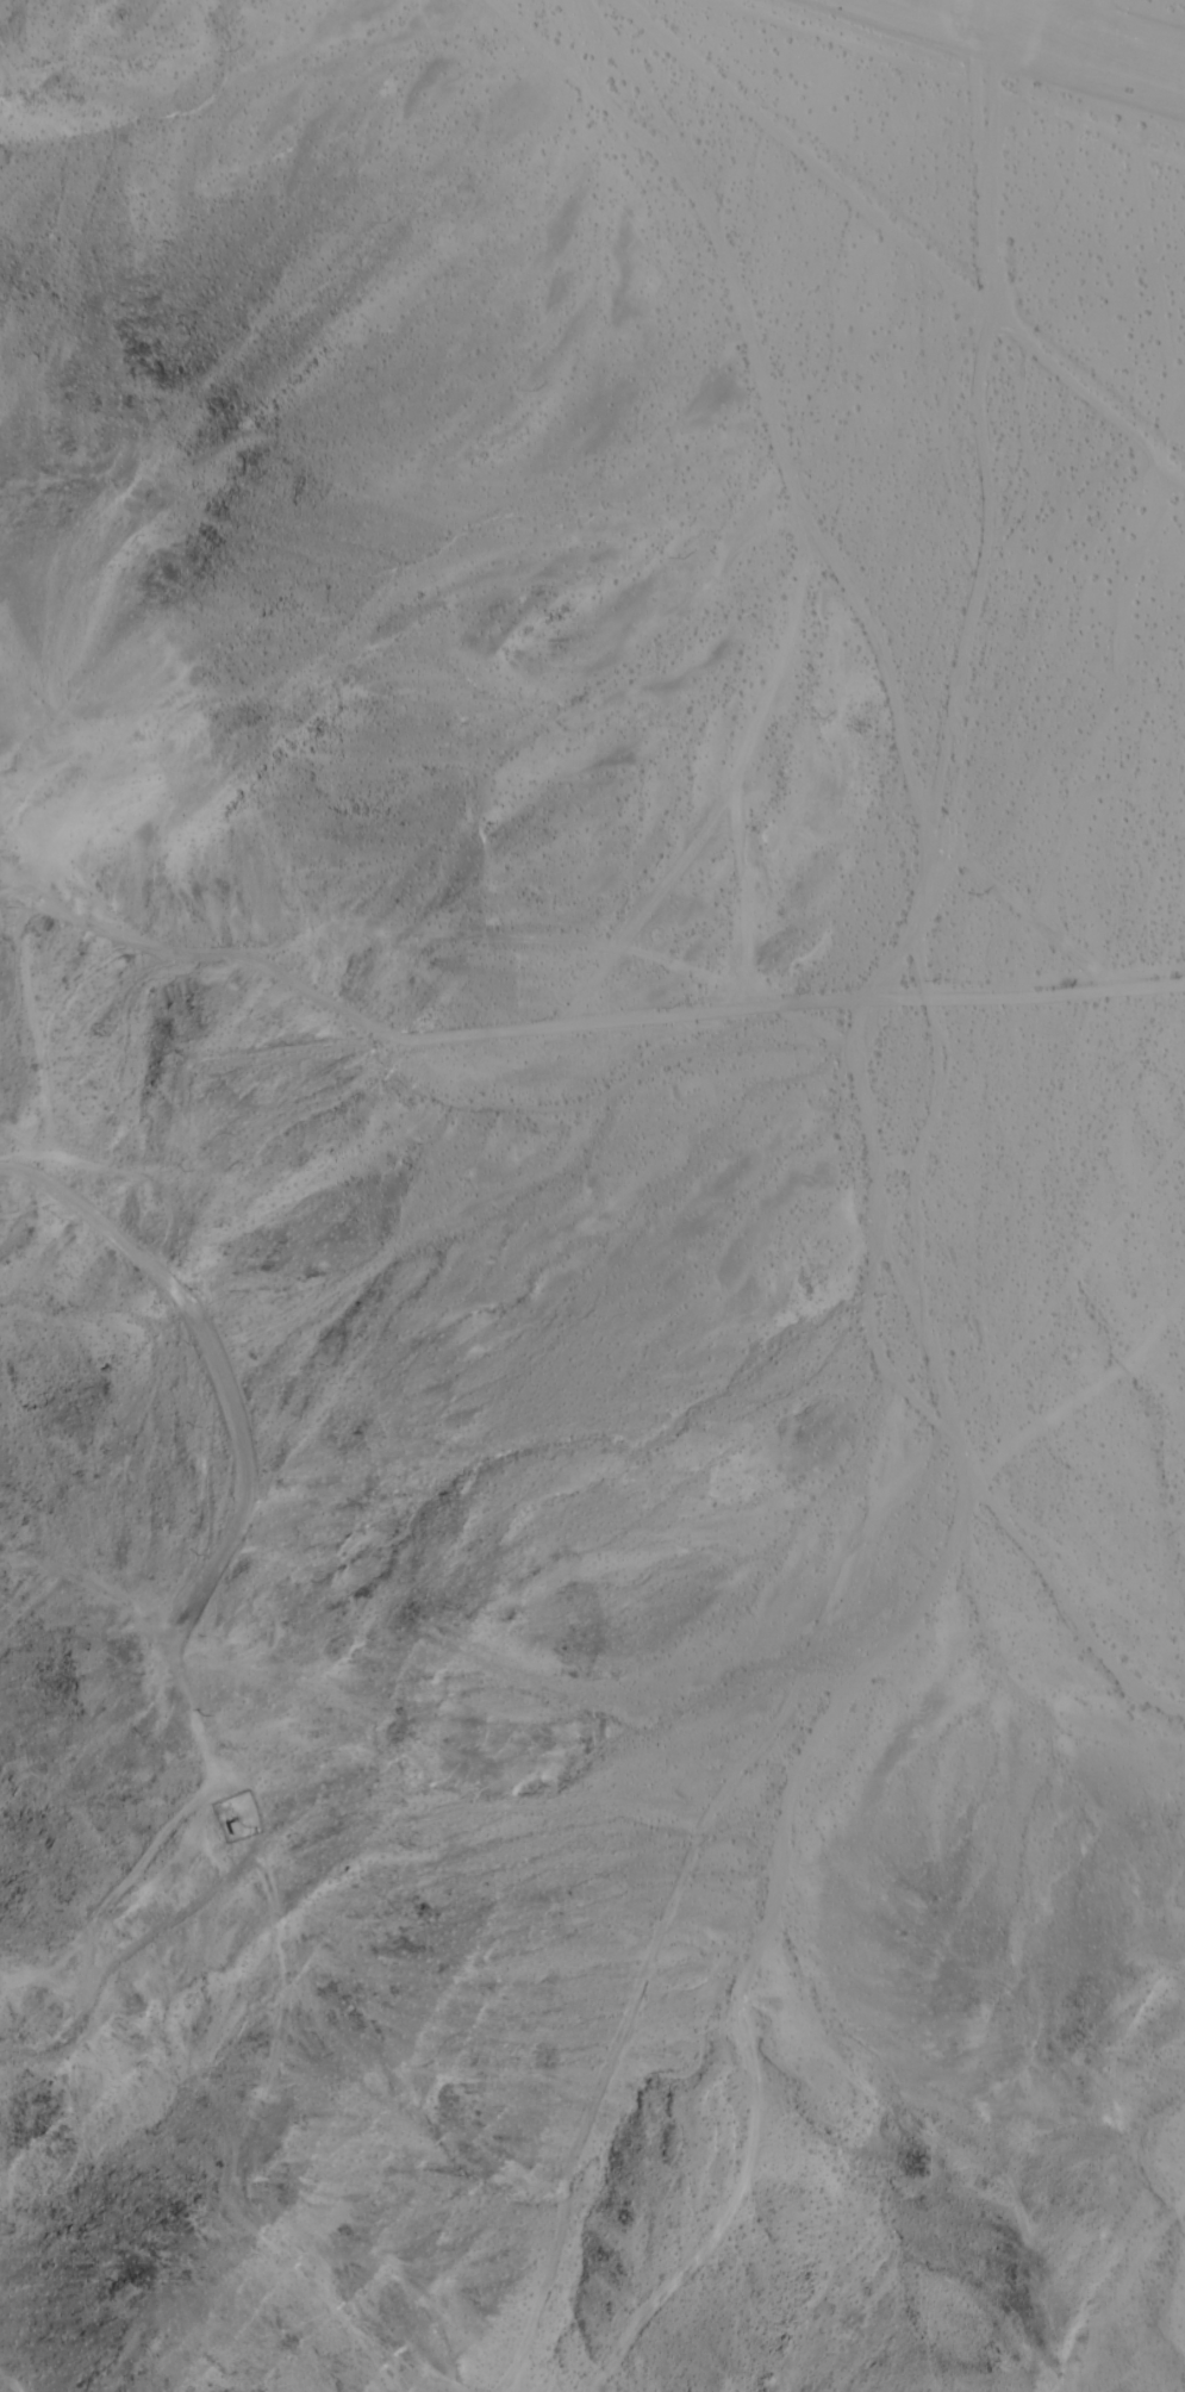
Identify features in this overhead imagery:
airport apron: (1052, 37)
airport: (942, 303)
road: (588, 949)
road: (244, 1431)
road: (116, 1890)

